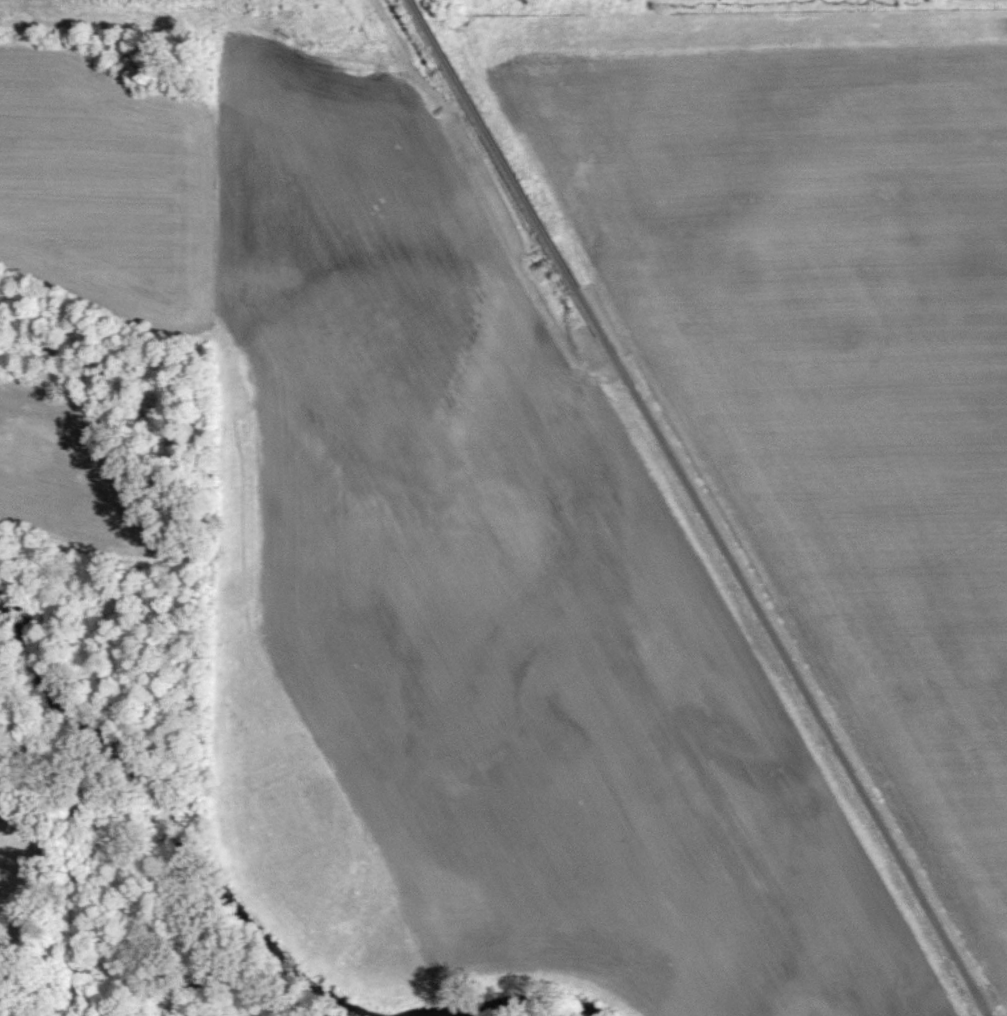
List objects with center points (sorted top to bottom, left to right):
road: (697, 508)

